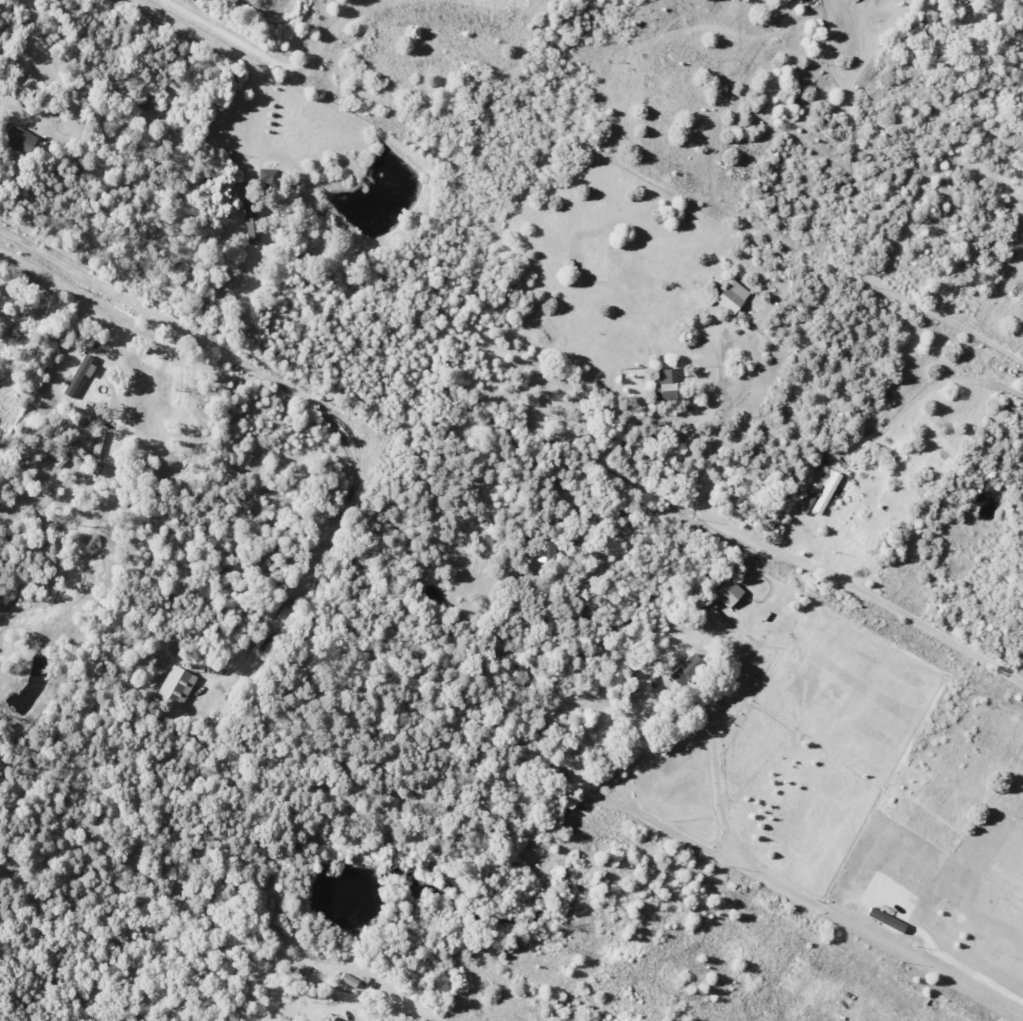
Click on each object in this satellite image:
road: (847, 15)
road: (270, 59)
building: (16, 138)
building: (262, 177)
building: (249, 214)
road: (849, 229)
building: (252, 235)
building: (730, 296)
road: (94, 313)
building: (78, 374)
building: (668, 383)
road: (306, 399)
building: (672, 438)
building: (97, 442)
road: (705, 462)
building: (826, 492)
building: (549, 552)
building: (727, 592)
road: (865, 595)
building: (685, 669)
building: (176, 687)
road: (813, 906)
road: (373, 988)
road: (402, 1018)
road: (415, 1018)

